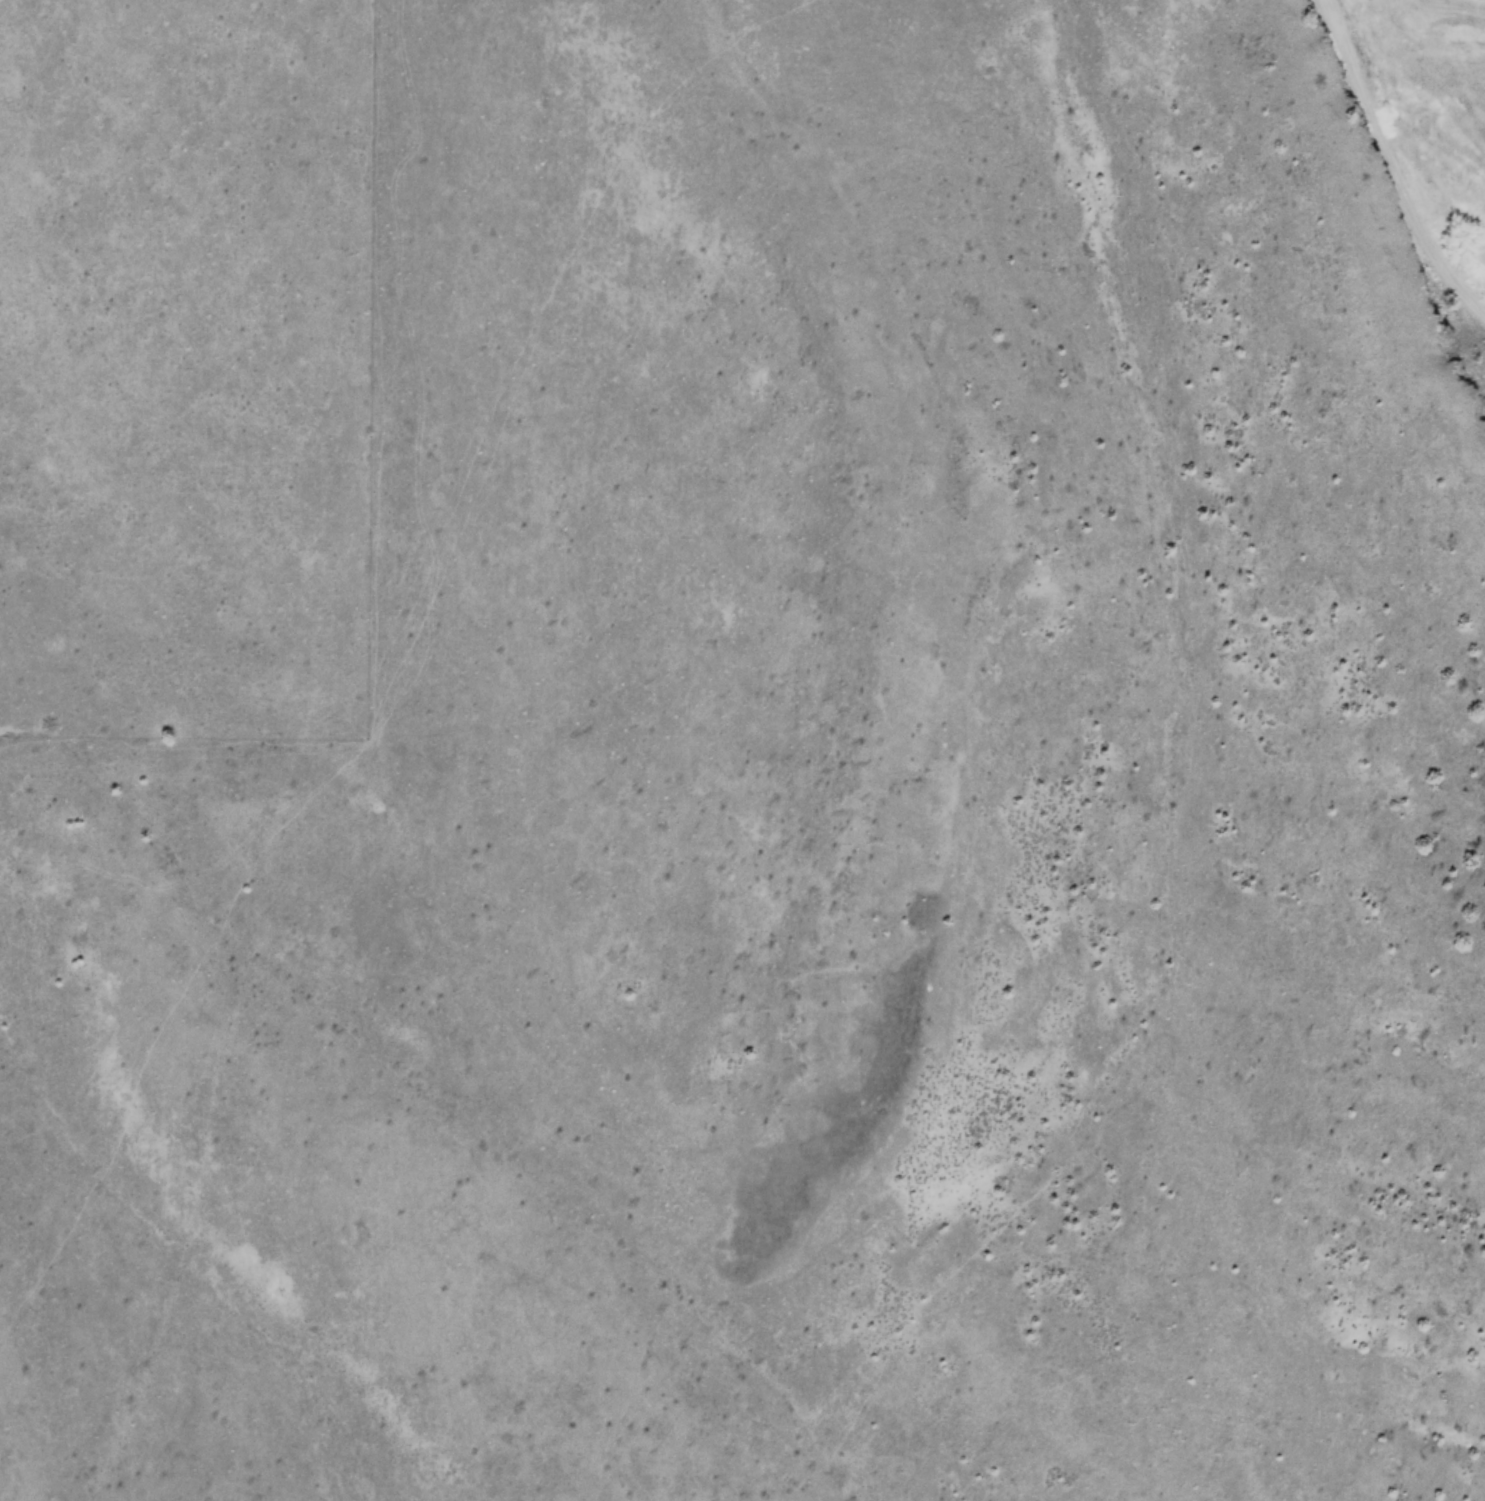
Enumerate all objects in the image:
road: (1391, 164)

